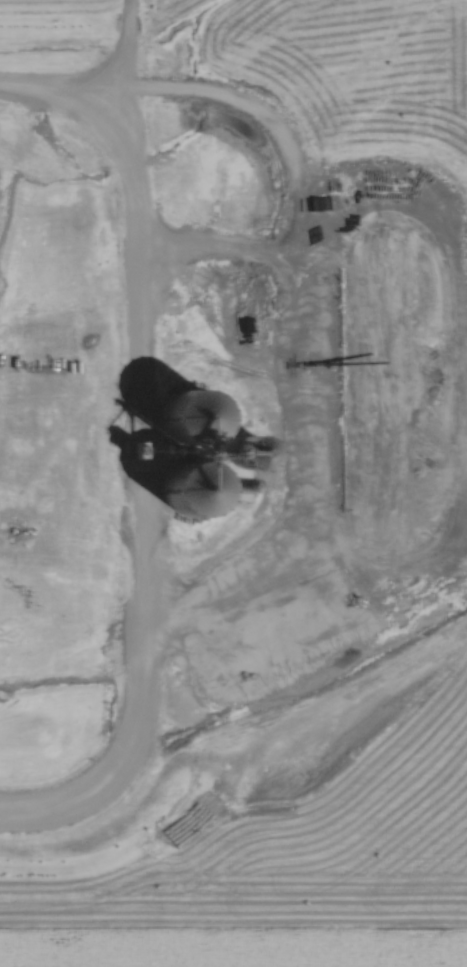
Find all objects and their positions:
road: (95, 82)
building: (174, 502)

